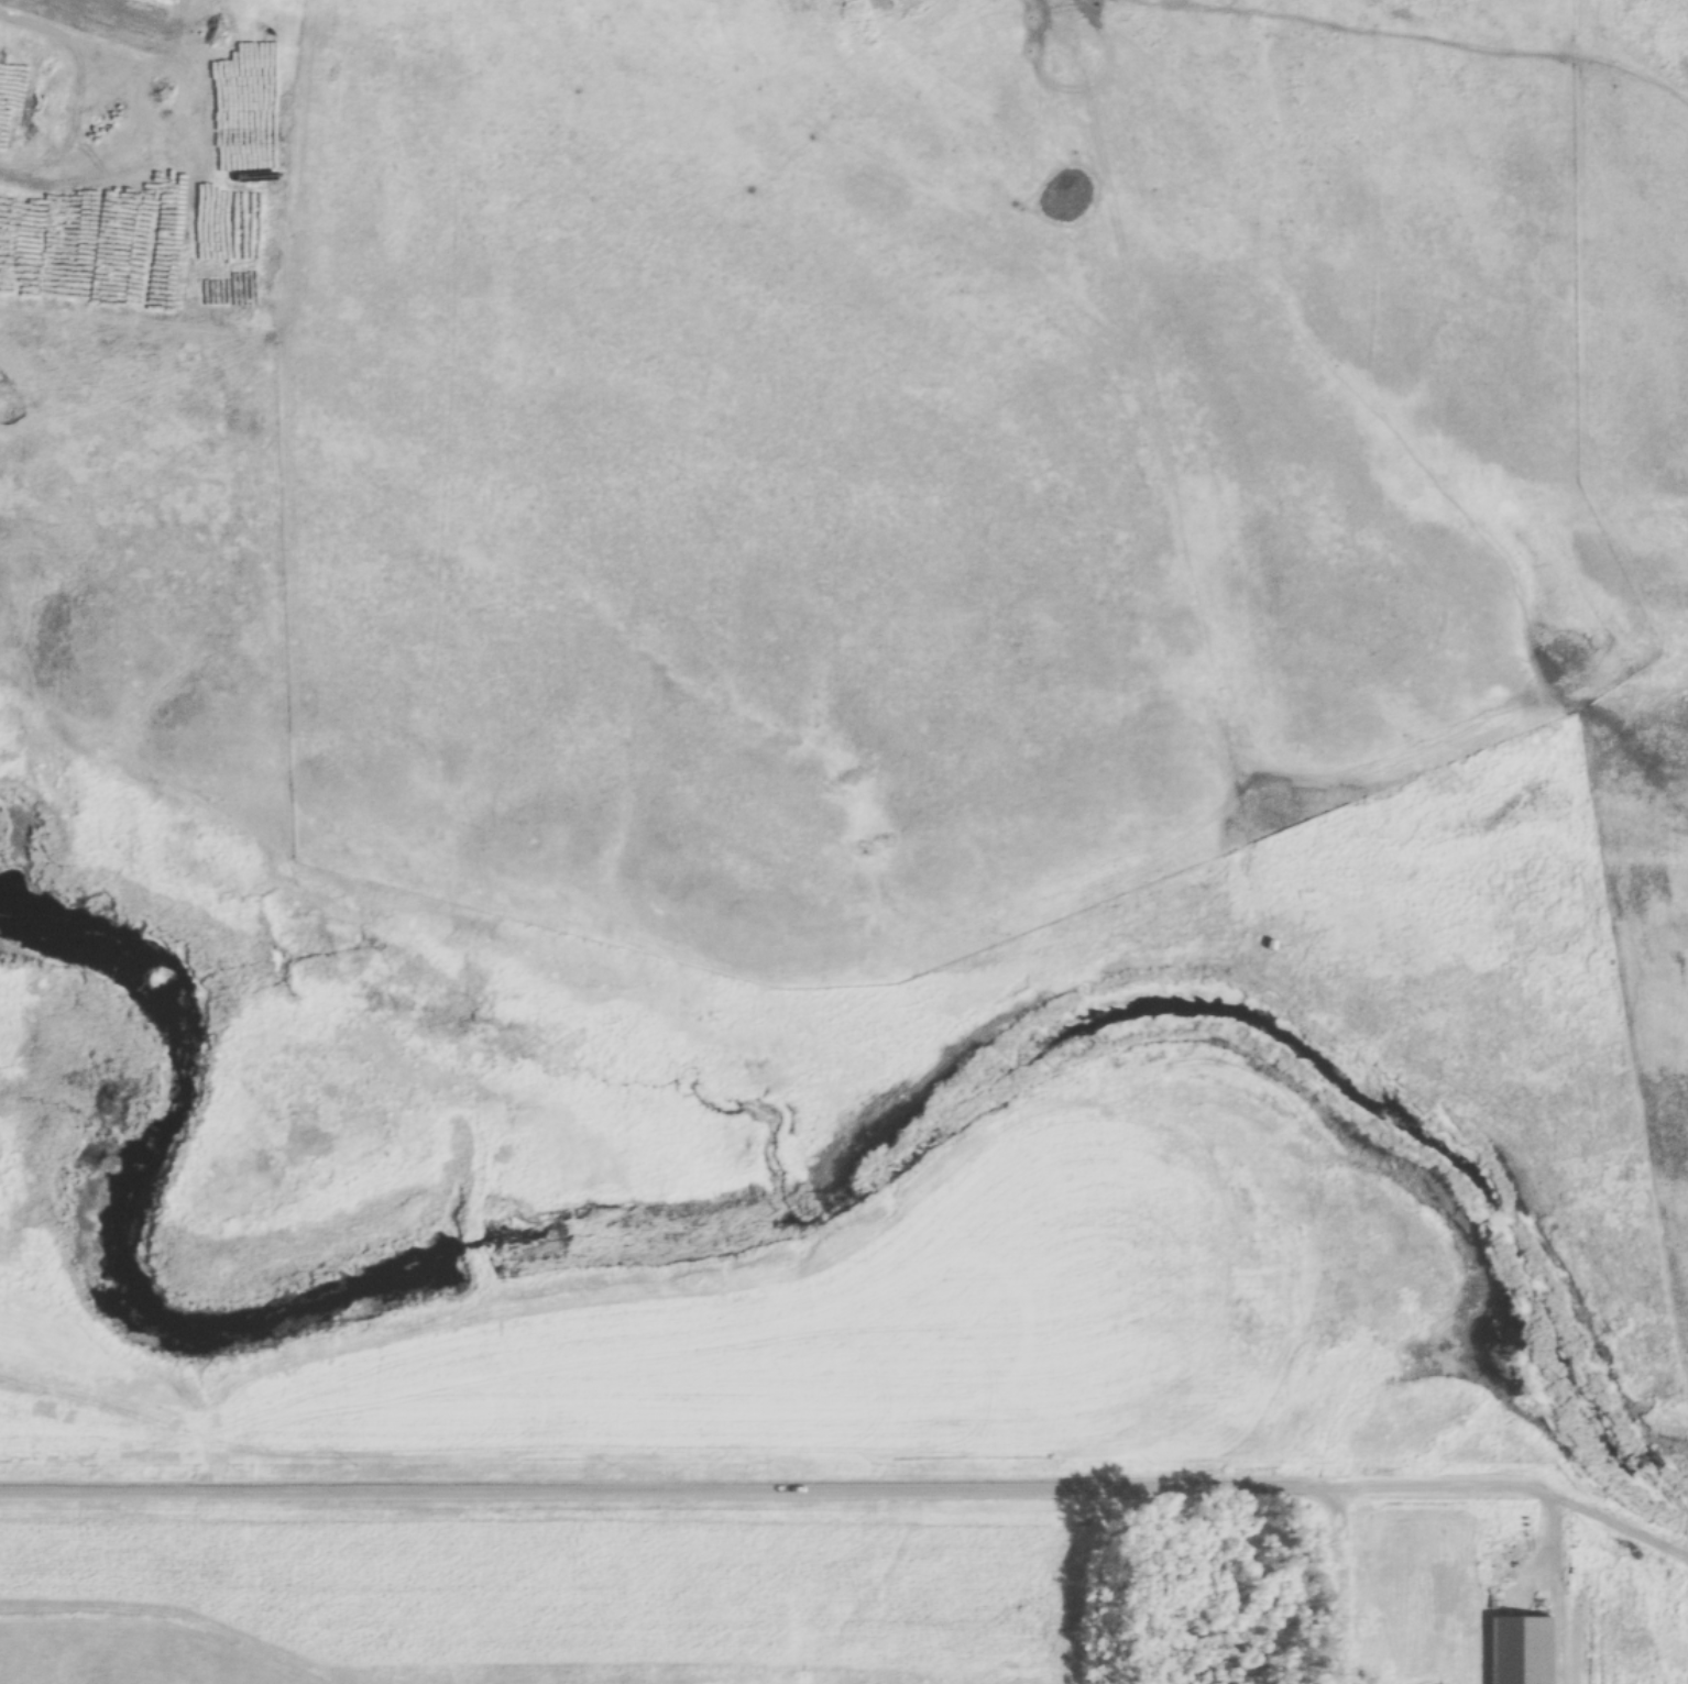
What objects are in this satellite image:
road: (665, 1484)
road: (1516, 1484)
road: (1338, 1586)
building: (1521, 1649)

